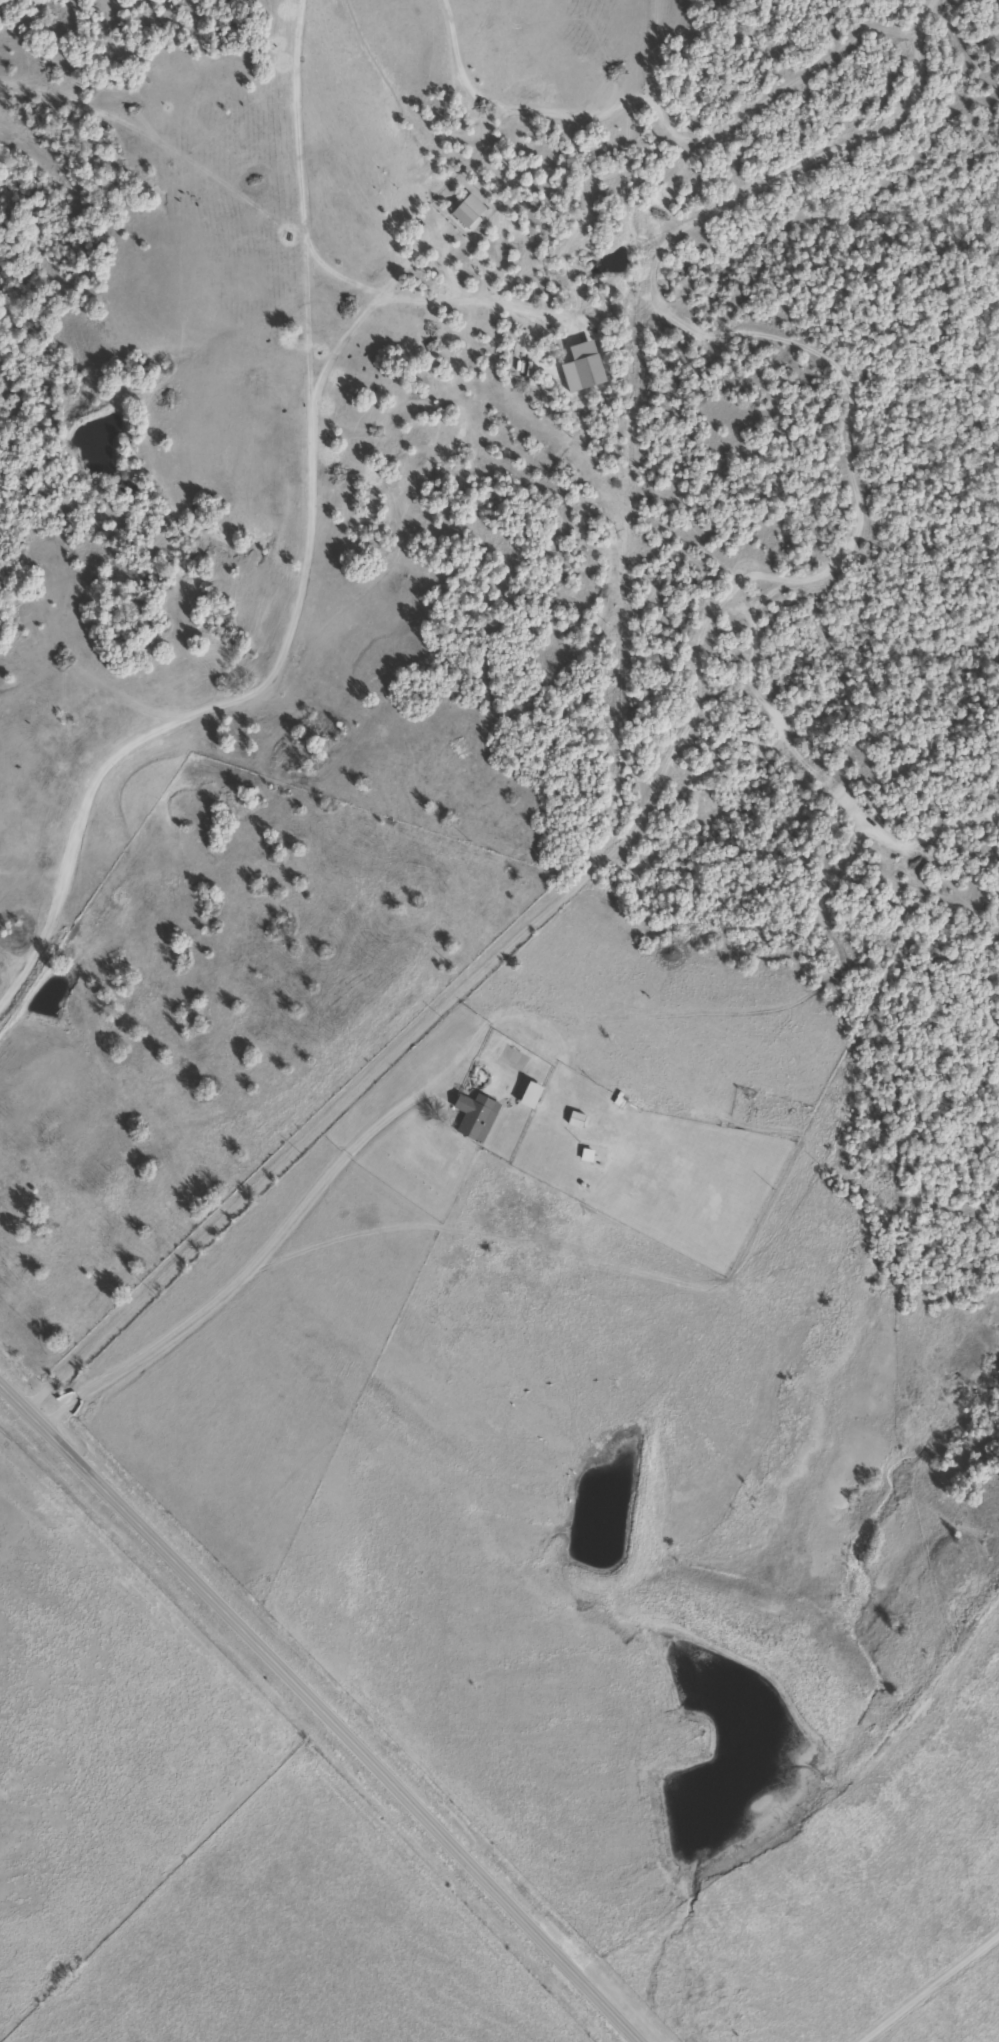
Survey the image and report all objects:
building: (580, 371)
building: (526, 1097)
building: (472, 1118)
building: (571, 1121)
building: (581, 1157)
road: (321, 1712)
road: (932, 1988)

